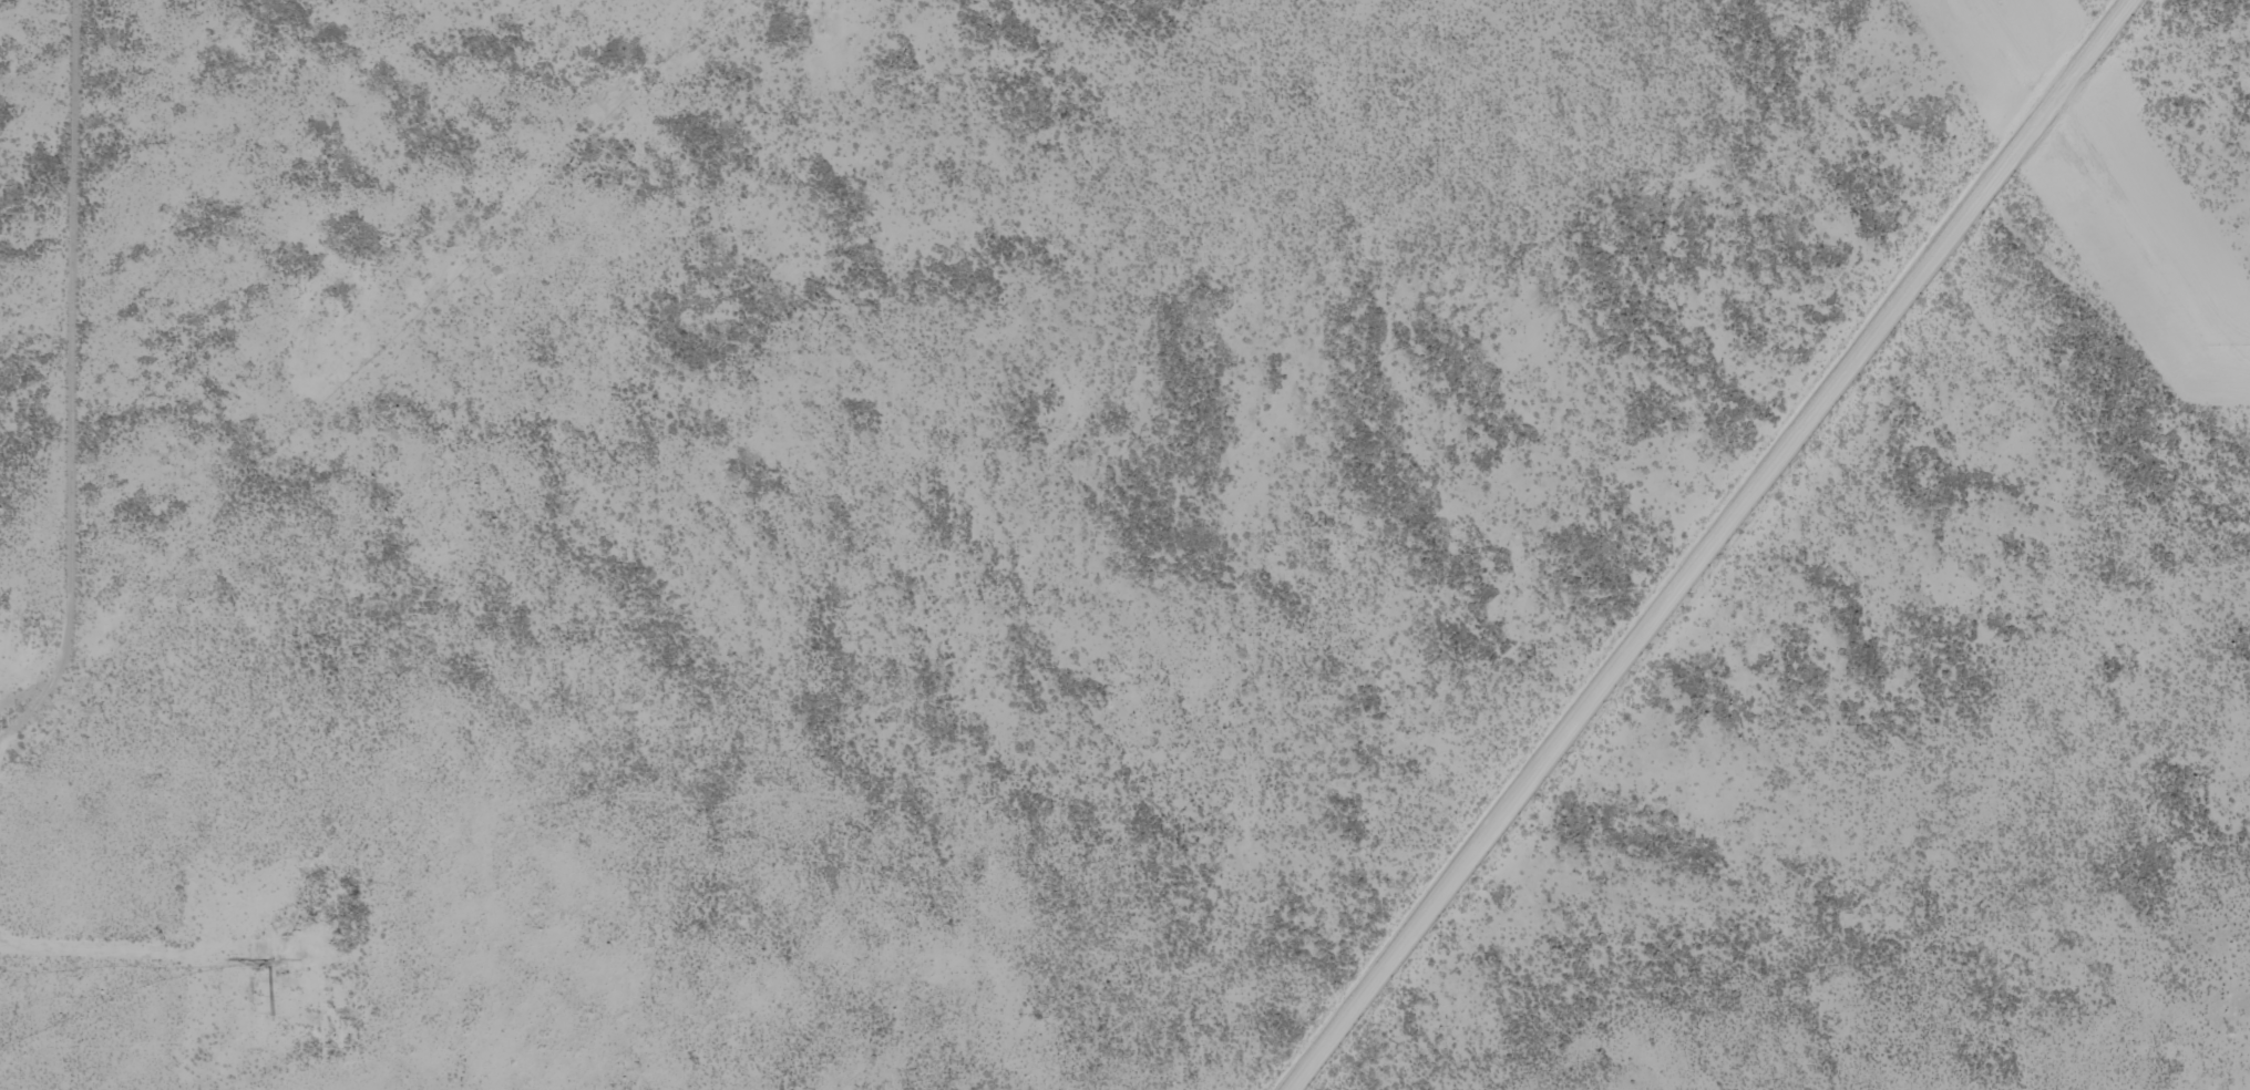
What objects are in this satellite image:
road: (2026, 113)
road: (73, 276)
road: (1720, 503)
road: (63, 665)
road: (9, 945)
road: (104, 949)

